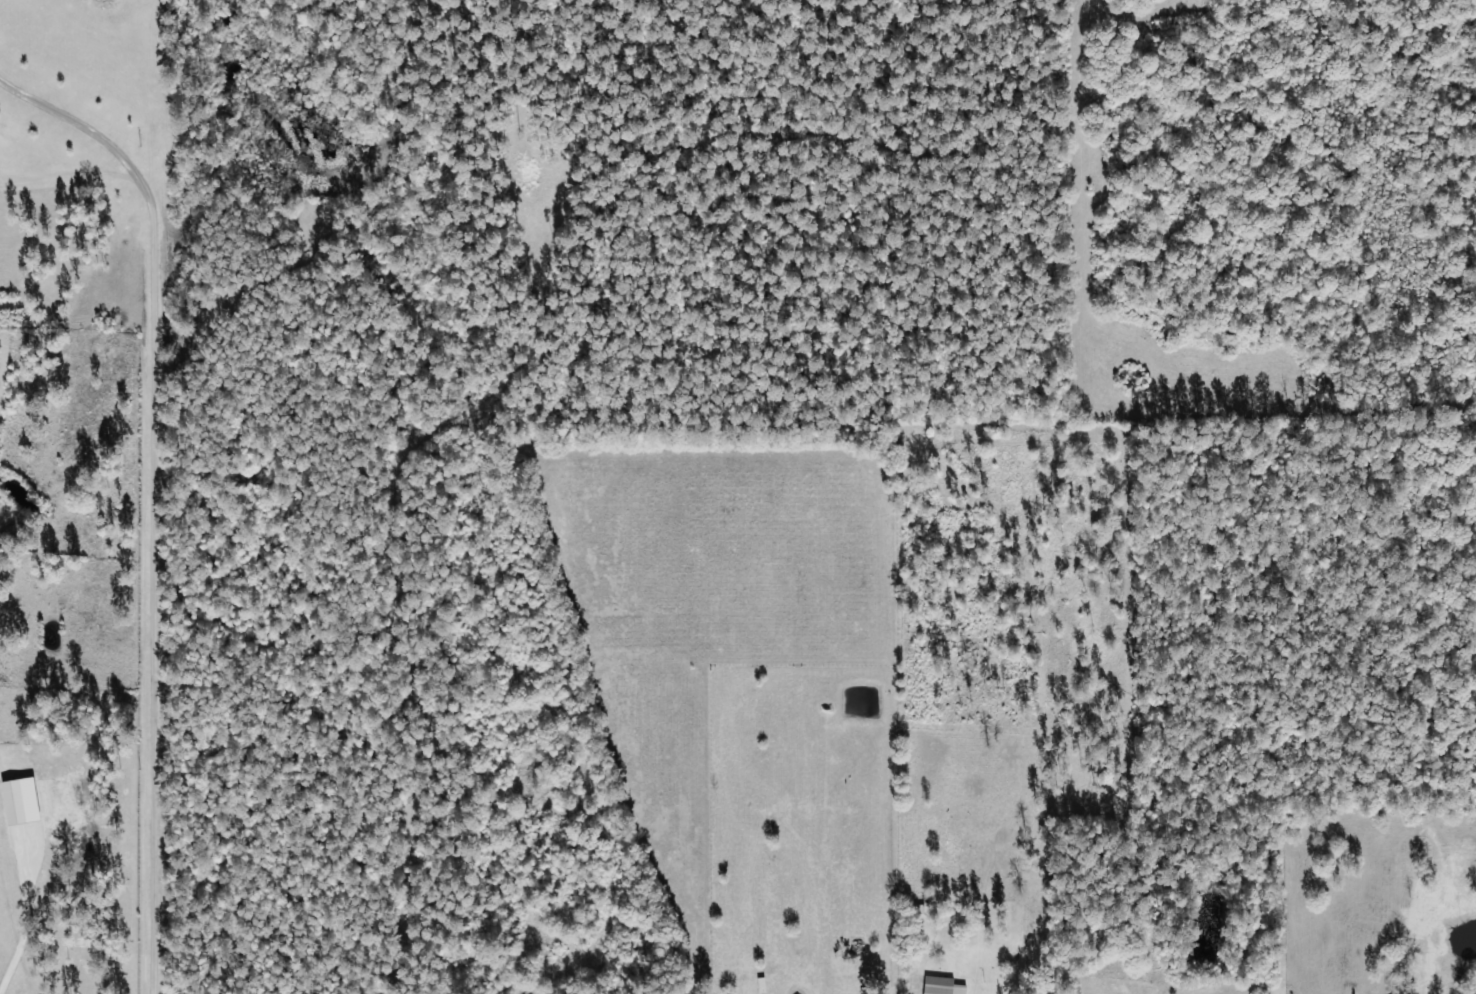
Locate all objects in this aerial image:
road: (119, 543)
building: (941, 985)

